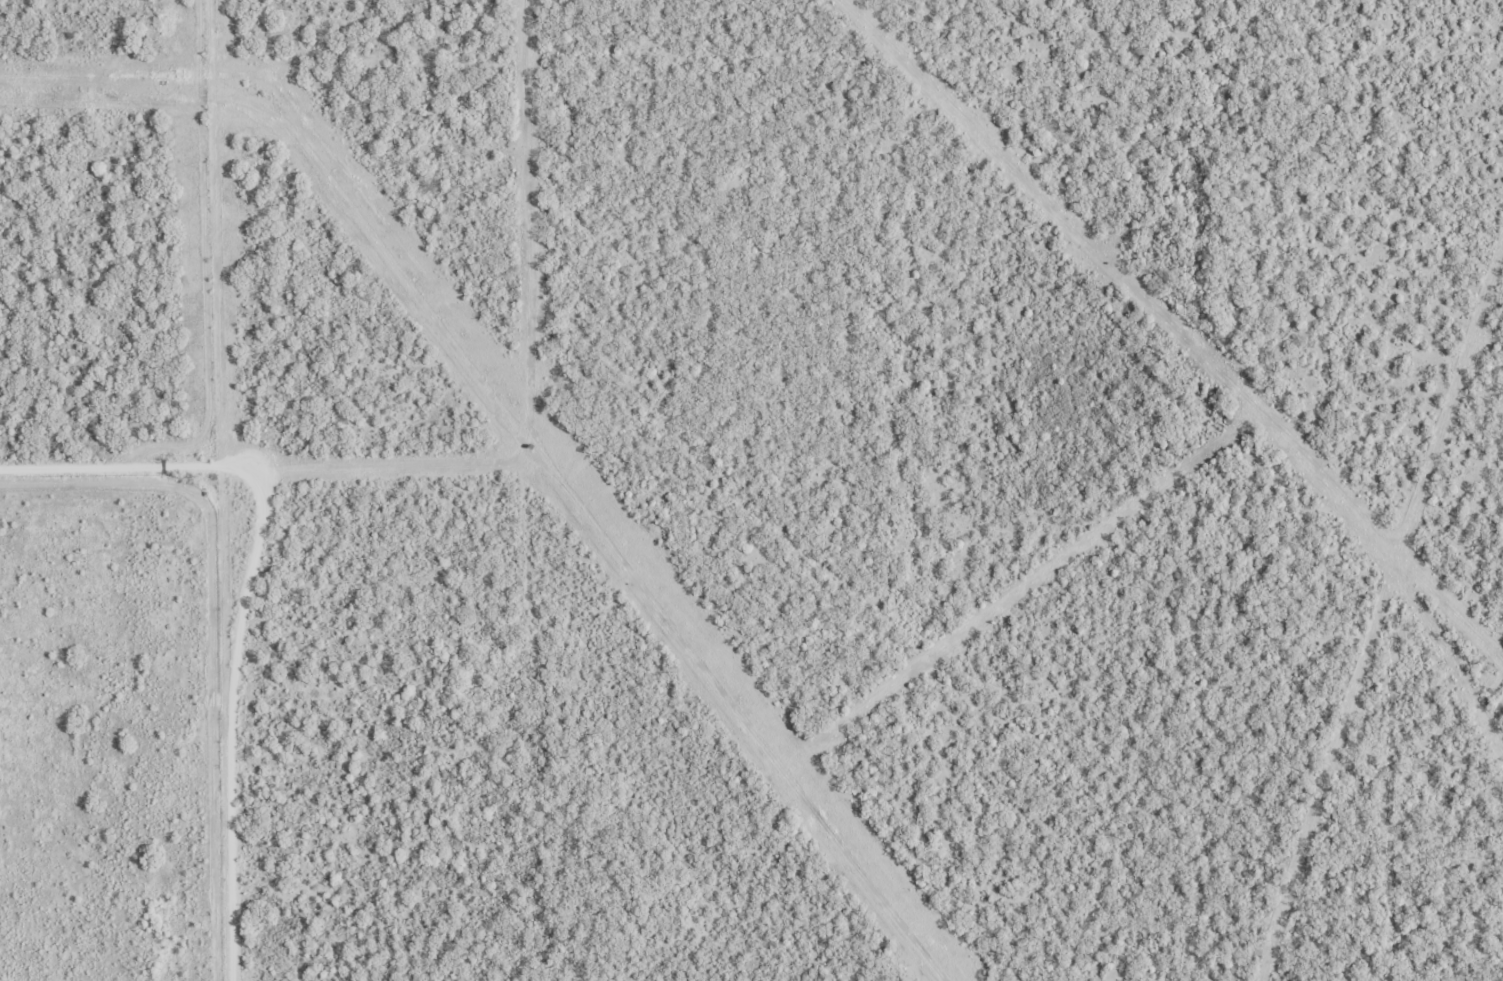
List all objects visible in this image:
road: (248, 597)

